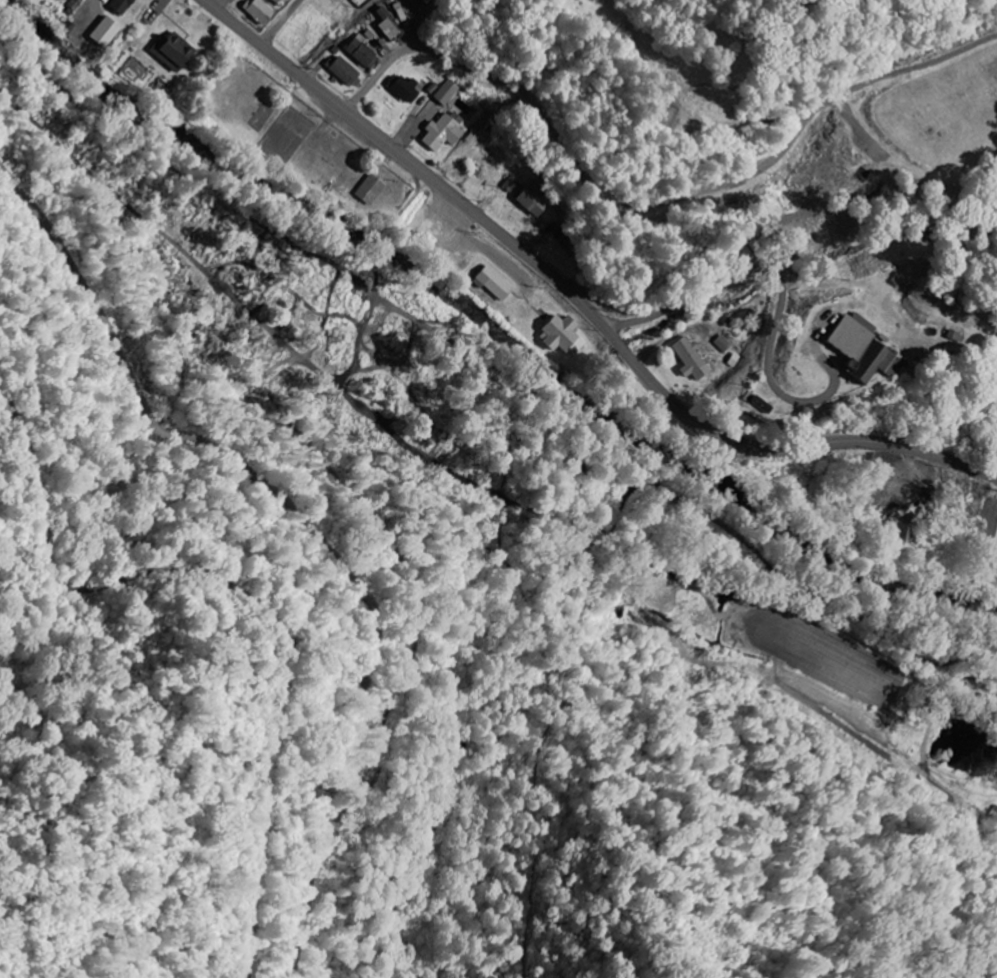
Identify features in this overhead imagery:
building: (355, 0)
building: (277, 2)
road: (221, 4)
building: (117, 6)
building: (257, 11)
road: (282, 22)
building: (386, 25)
building: (102, 32)
building: (171, 51)
building: (360, 51)
building: (341, 70)
building: (402, 89)
building: (446, 92)
building: (442, 131)
road: (404, 134)
building: (511, 184)
building: (367, 190)
building: (532, 200)
road: (650, 206)
road: (537, 240)
road: (438, 252)
building: (491, 282)
road: (783, 293)
road: (580, 301)
building: (560, 335)
building: (847, 335)
building: (723, 343)
building: (688, 359)
building: (852, 361)
building: (871, 365)
building: (755, 404)
road: (906, 470)
building: (902, 529)
road: (296, 562)
building: (995, 569)
road: (994, 575)

